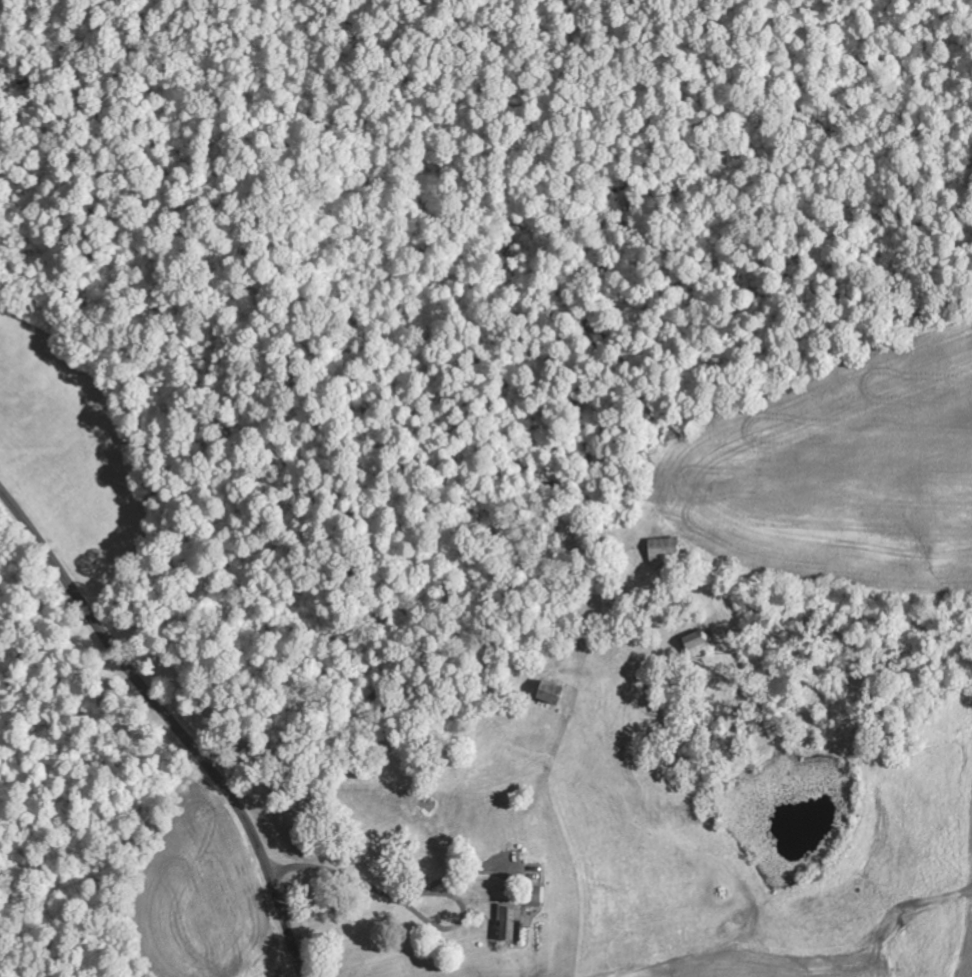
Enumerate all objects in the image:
building: (665, 551)
building: (700, 644)
building: (554, 694)
road: (174, 723)
building: (514, 925)

